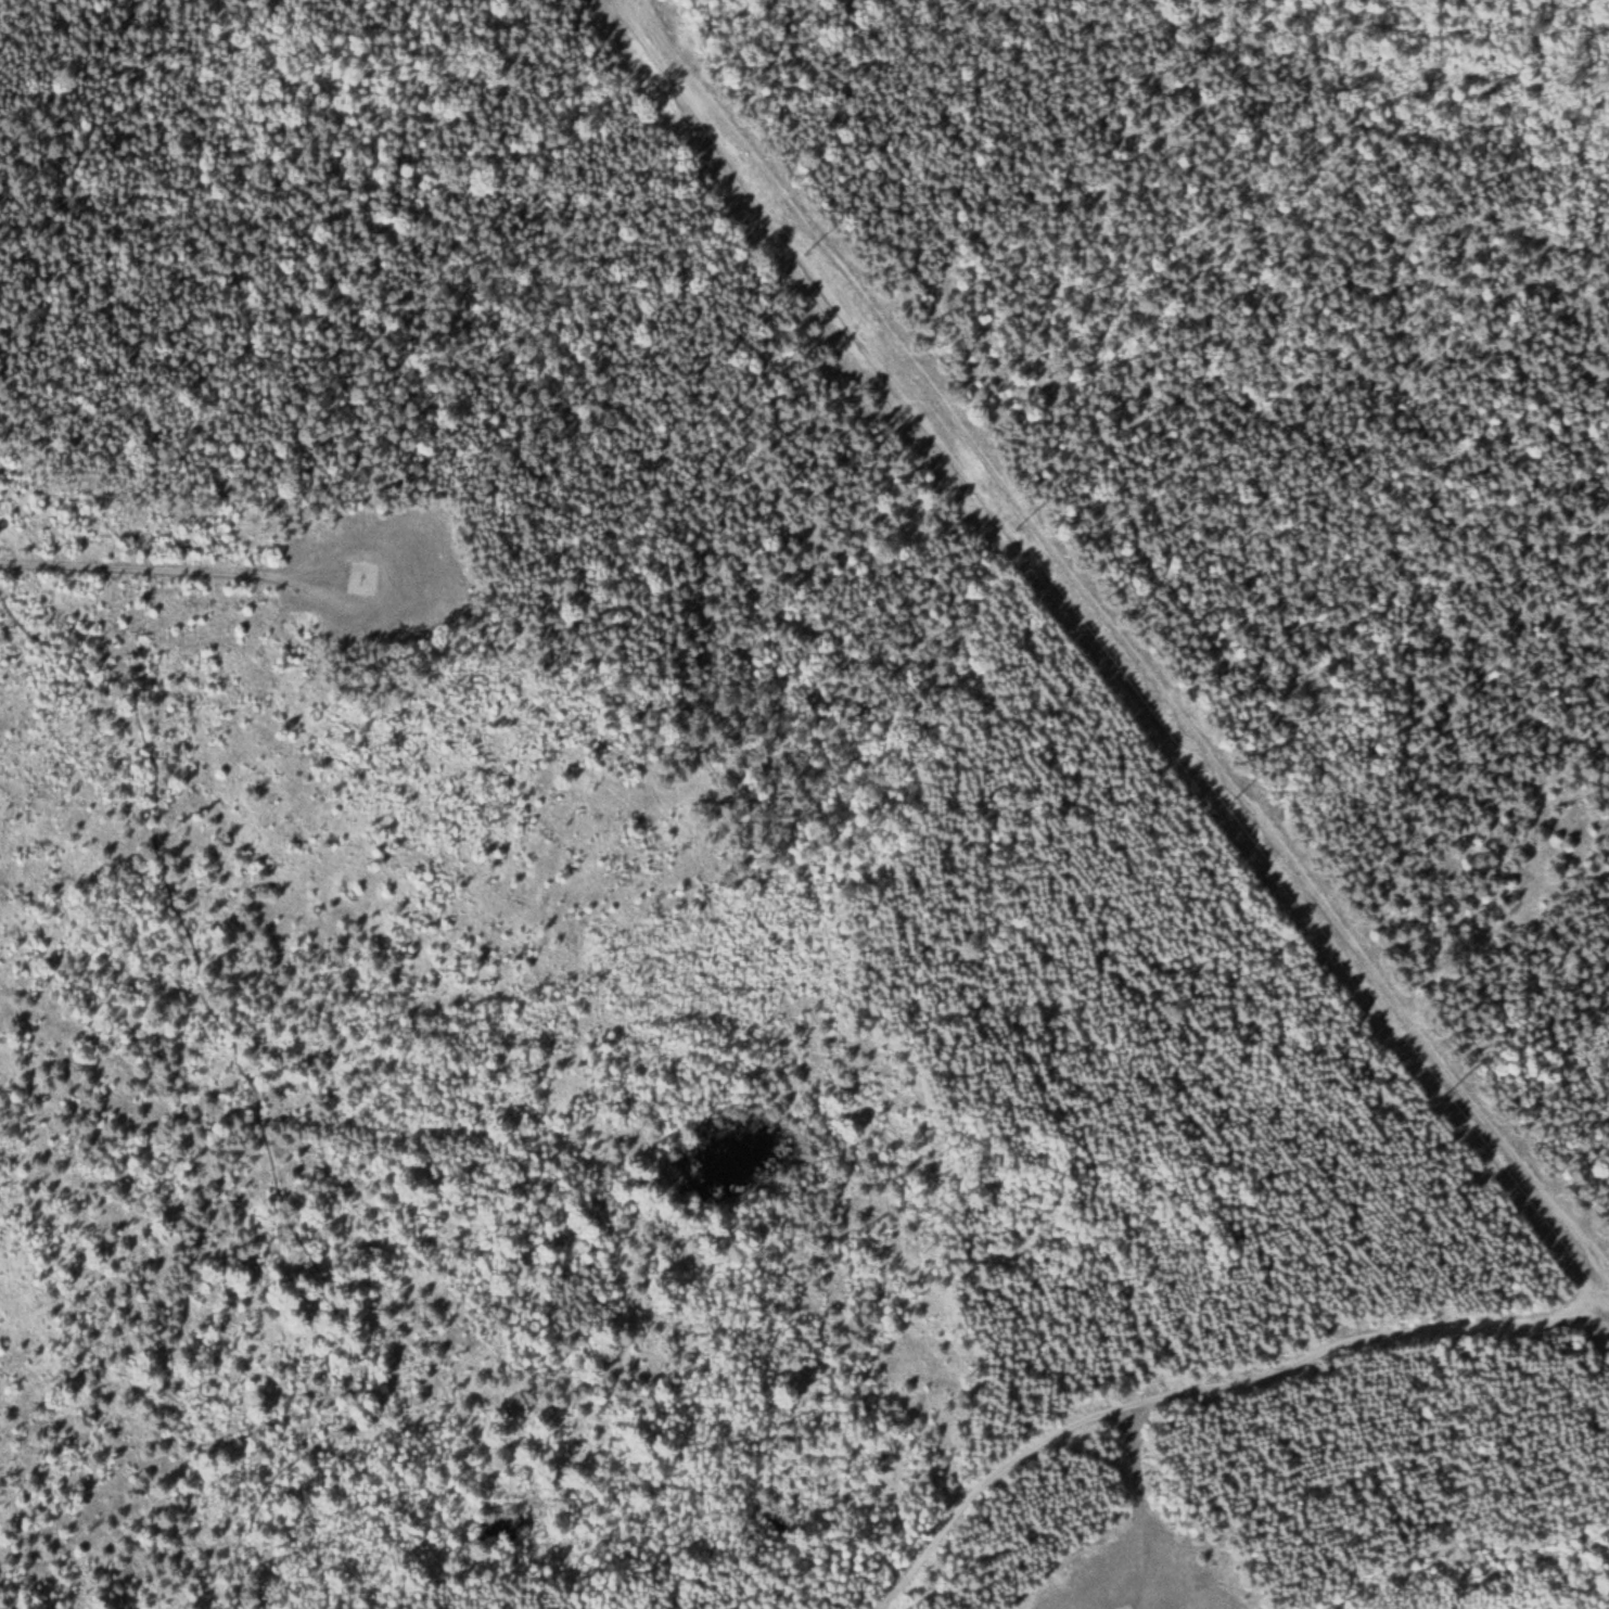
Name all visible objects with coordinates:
road: (86, 155)
road: (162, 573)
road: (1104, 653)
road: (255, 1090)
road: (1369, 1337)
road: (982, 1469)
road: (1146, 1506)

